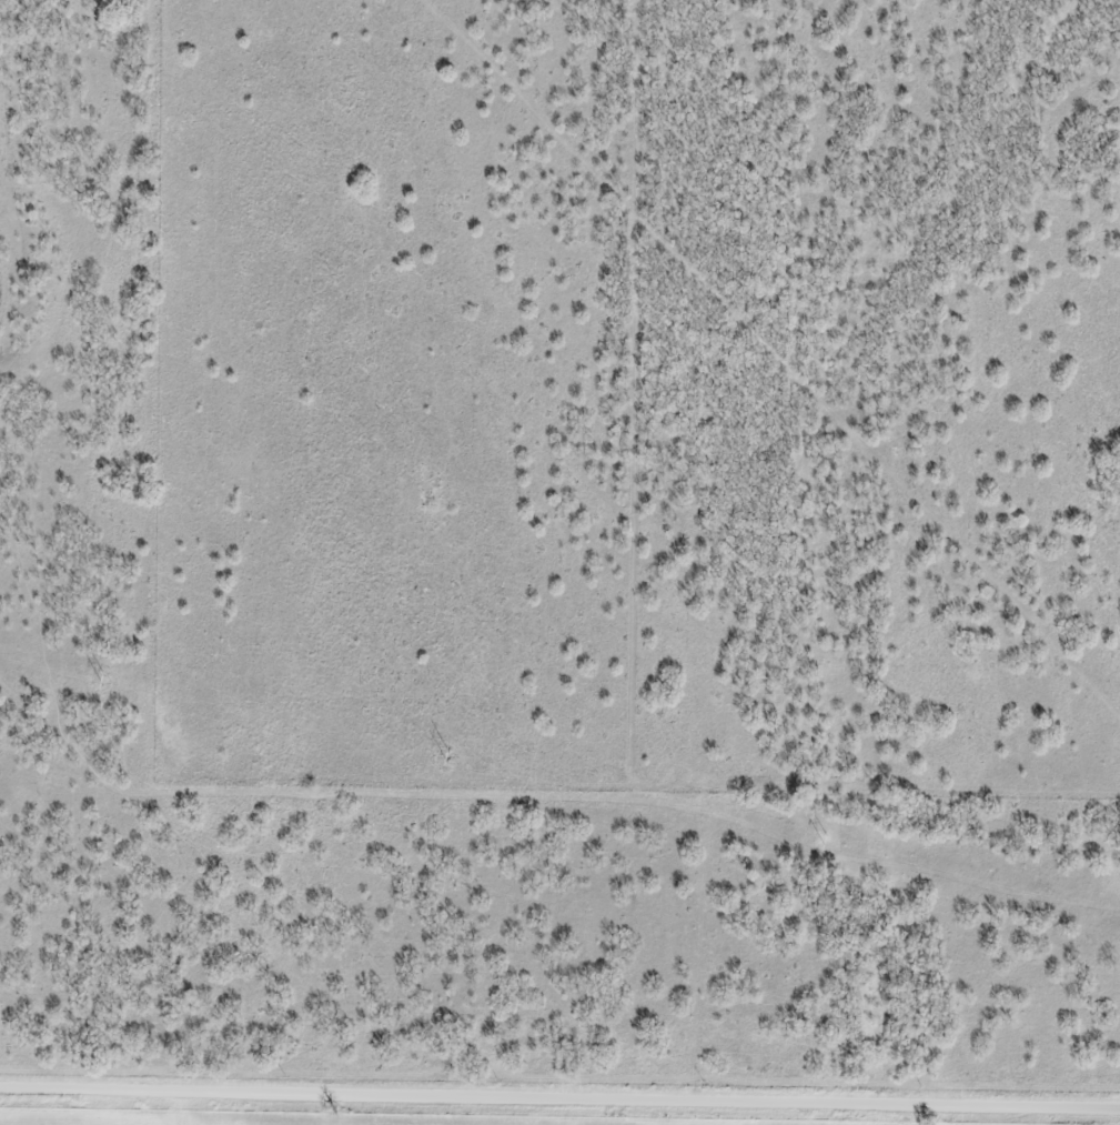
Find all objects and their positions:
power tower: (103, 683)
power tower: (446, 759)
power tower: (826, 843)
road: (559, 1095)

